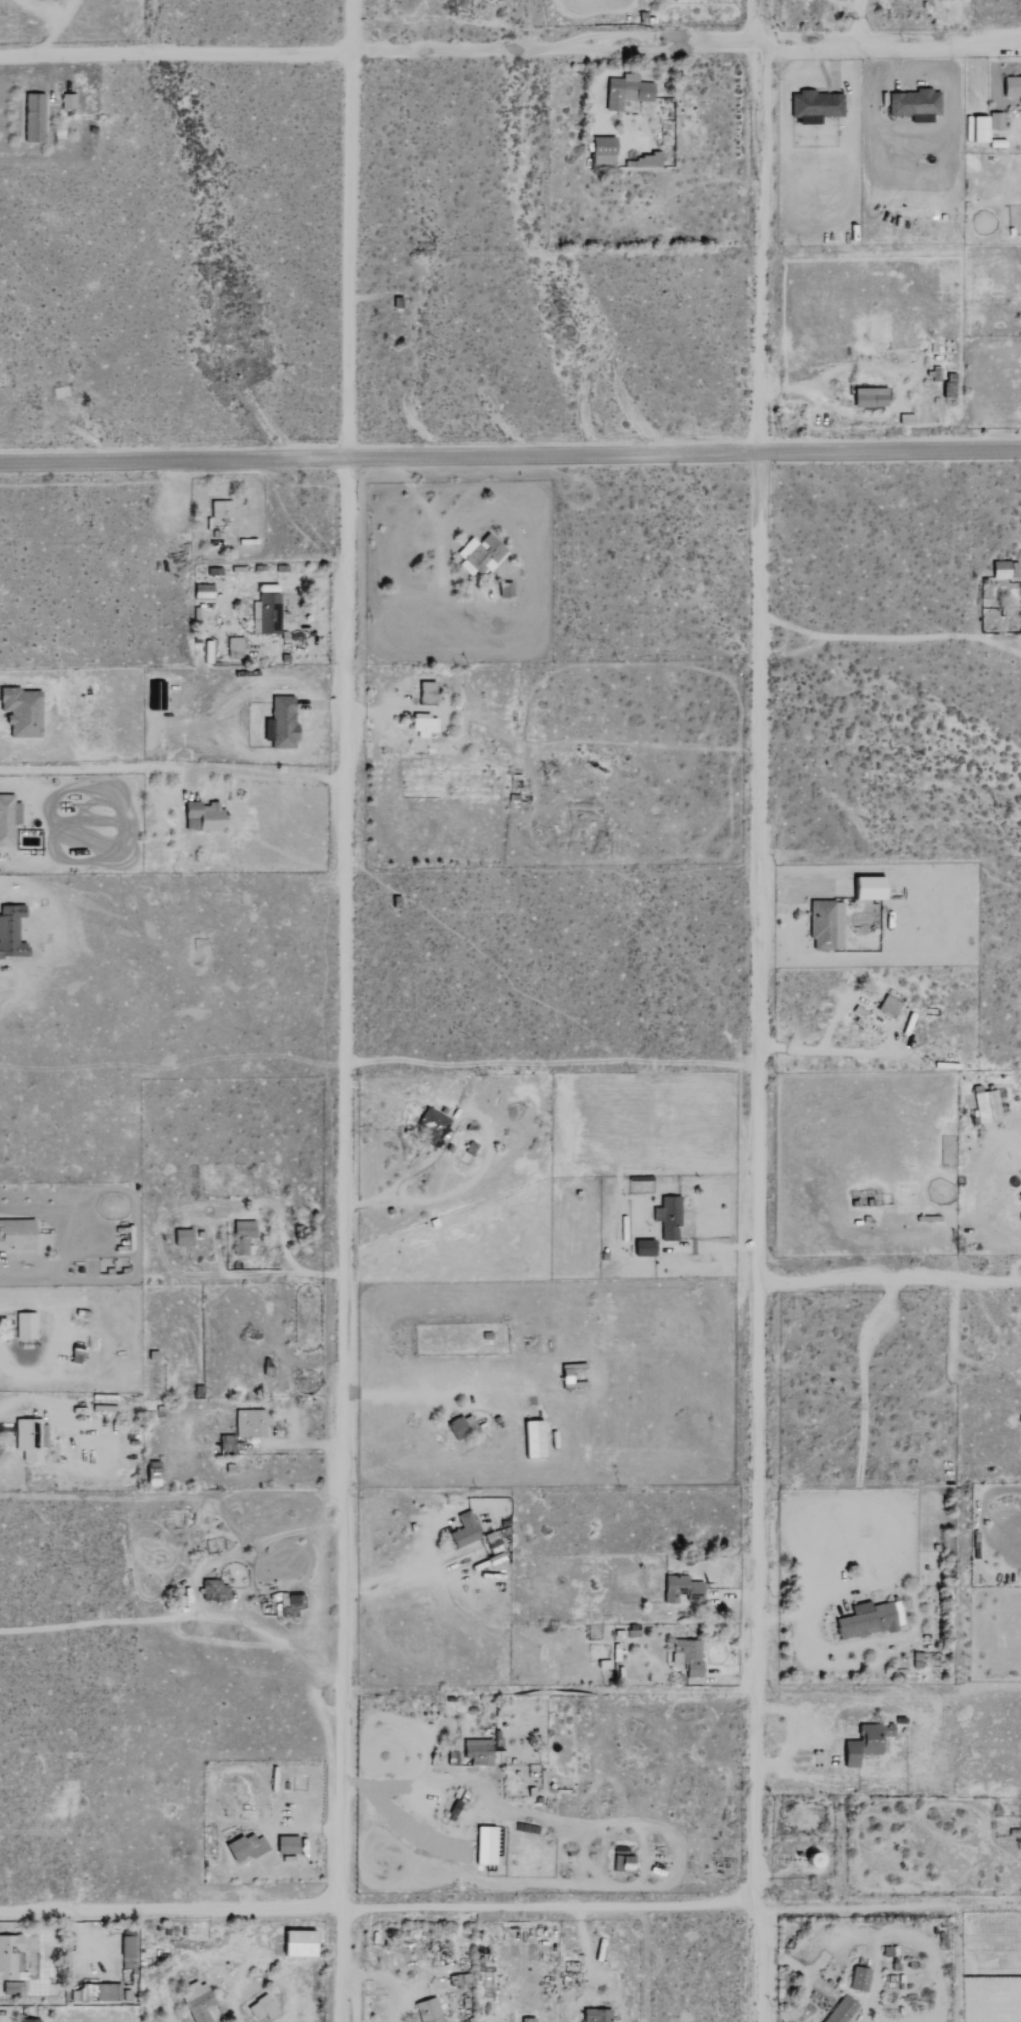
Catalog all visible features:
road: (510, 54)
building: (624, 91)
building: (66, 101)
building: (914, 105)
building: (32, 118)
building: (994, 121)
building: (974, 129)
building: (601, 152)
building: (646, 160)
building: (868, 398)
road: (510, 458)
road: (424, 506)
building: (219, 508)
building: (478, 554)
building: (1002, 569)
building: (504, 590)
building: (201, 591)
building: (264, 613)
building: (233, 647)
building: (205, 651)
building: (425, 692)
road: (384, 708)
building: (20, 711)
building: (279, 722)
building: (422, 726)
road: (175, 767)
building: (203, 815)
building: (7, 818)
building: (865, 887)
building: (824, 924)
building: (887, 1006)
road: (764, 1010)
road: (348, 1011)
road: (837, 1051)
building: (985, 1106)
building: (430, 1127)
road: (489, 1150)
building: (1020, 1194)
building: (667, 1217)
building: (15, 1234)
building: (240, 1236)
building: (181, 1237)
building: (642, 1247)
road: (714, 1247)
road: (260, 1274)
road: (891, 1285)
building: (23, 1326)
road: (395, 1392)
building: (248, 1423)
building: (459, 1427)
building: (531, 1439)
road: (298, 1442)
building: (224, 1443)
building: (150, 1473)
road: (333, 1527)
building: (463, 1531)
road: (395, 1570)
road: (192, 1582)
building: (680, 1590)
building: (212, 1591)
road: (316, 1591)
road: (819, 1600)
building: (288, 1604)
building: (866, 1622)
building: (686, 1656)
building: (865, 1743)
road: (421, 1752)
building: (476, 1752)
road: (300, 1829)
building: (285, 1845)
building: (482, 1846)
building: (244, 1847)
building: (809, 1860)
road: (891, 1908)
road: (381, 1910)
building: (295, 1944)
building: (127, 1952)
road: (586, 1955)
building: (10, 1957)
road: (389, 1979)
building: (857, 1979)
building: (12, 1988)
building: (110, 1993)
building: (196, 2002)
building: (260, 2008)
road: (288, 2008)
building: (839, 2010)
building: (426, 2011)
building: (595, 2015)
building: (27, 2020)
building: (526, 2020)

